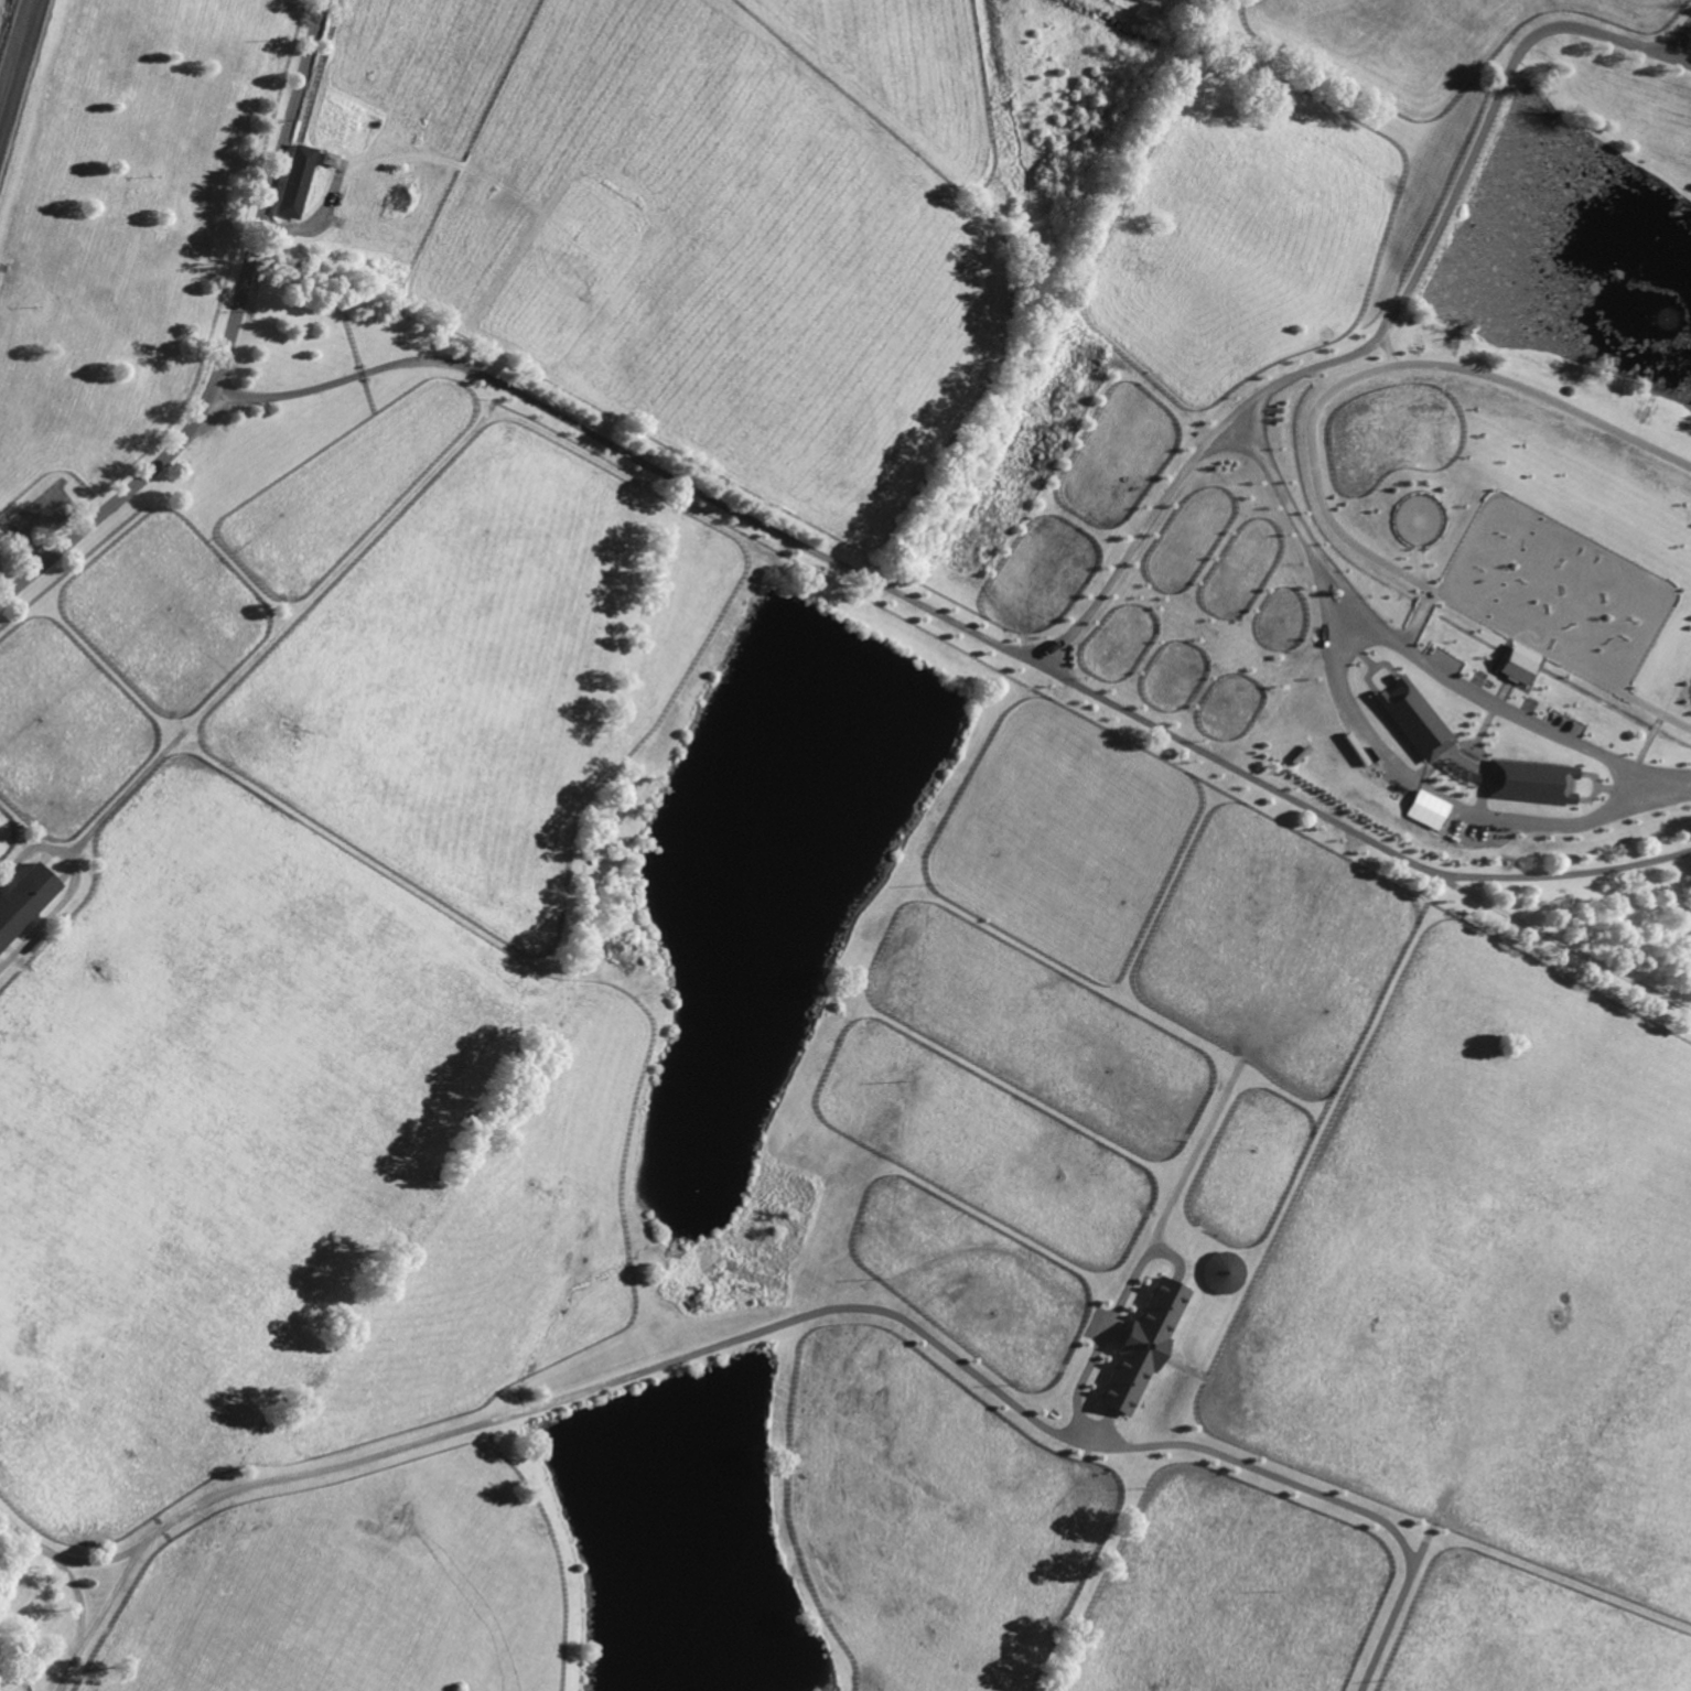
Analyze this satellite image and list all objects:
road: (1683, 58)
building: (376, 122)
road: (457, 151)
building: (328, 157)
building: (294, 180)
building: (370, 269)
road: (1382, 331)
road: (229, 341)
building: (9, 535)
road: (949, 628)
building: (1518, 663)
road: (1467, 699)
building: (1413, 718)
road: (1363, 747)
building: (1529, 780)
building: (1429, 809)
road: (72, 884)
building: (25, 897)
road: (1568, 947)
building: (1142, 1345)
road: (709, 1346)
road: (1316, 1491)
road: (110, 1597)
road: (78, 1603)
road: (65, 1672)

